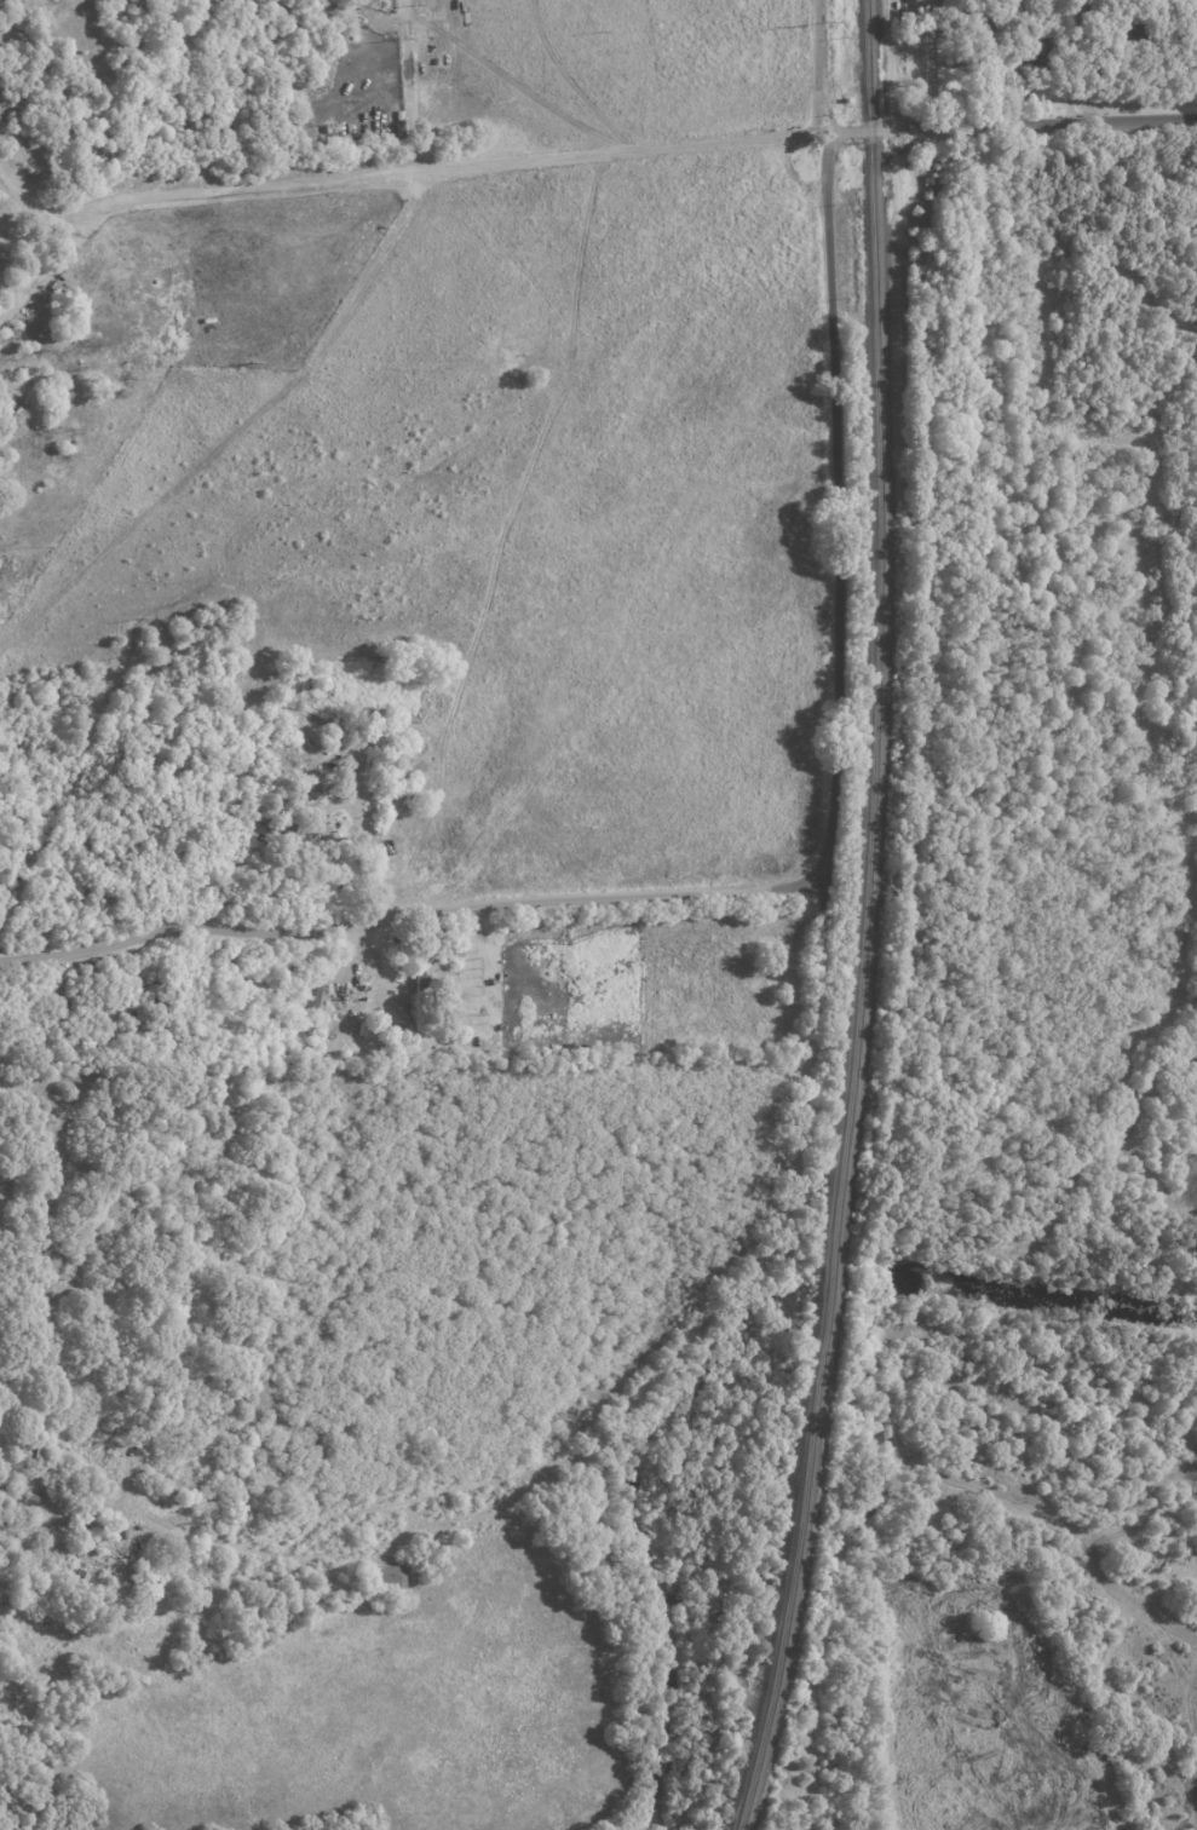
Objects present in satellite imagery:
building: (359, 1)
building: (1038, 11)
building: (967, 21)
building: (1189, 22)
building: (1117, 31)
building: (1025, 46)
road: (819, 65)
road: (412, 84)
building: (304, 122)
road: (1013, 125)
building: (27, 155)
road: (401, 167)
building: (292, 824)
road: (779, 885)
railway: (863, 919)
building: (422, 1001)
building: (317, 1005)
building: (142, 1017)
building: (425, 1038)
road: (638, 1387)
building: (157, 1414)
building: (40, 1450)
building: (28, 1500)
building: (391, 1576)
building: (144, 1579)

